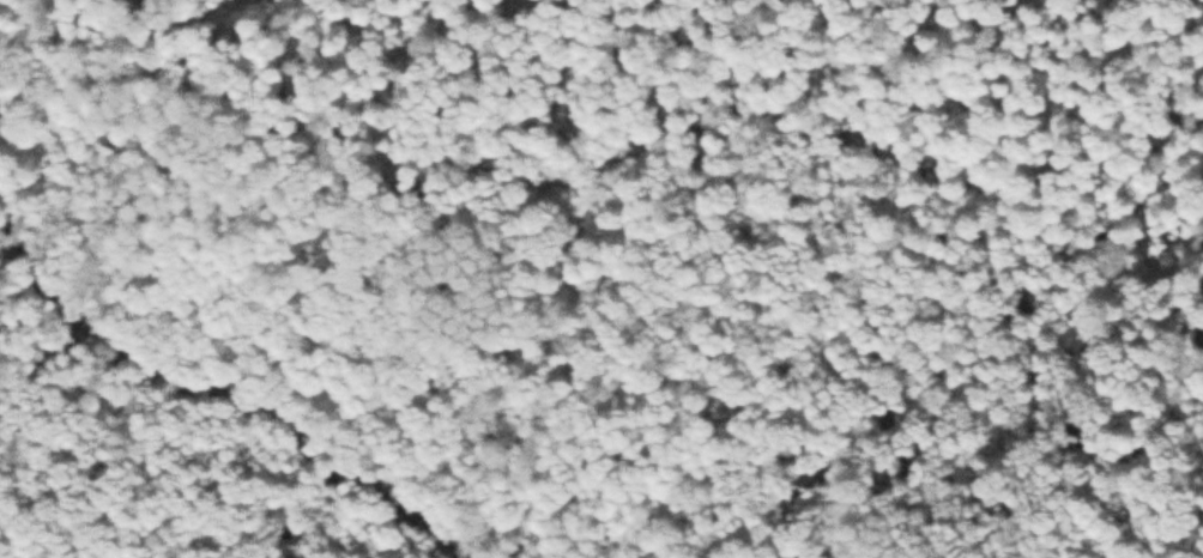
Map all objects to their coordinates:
road: (967, 353)

